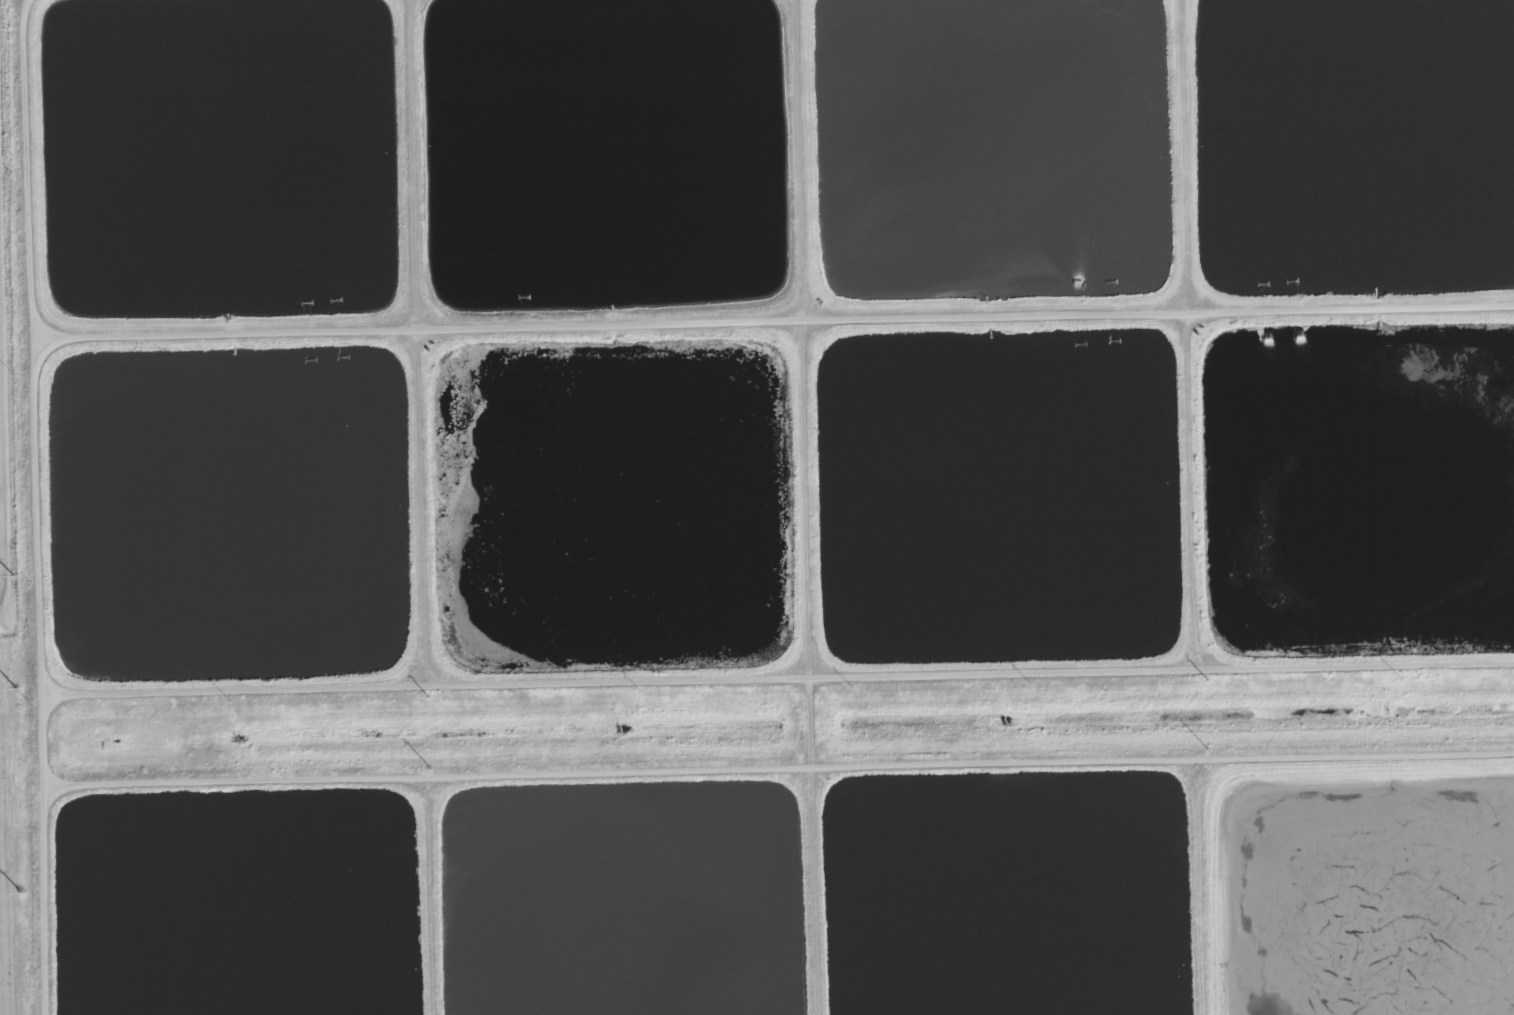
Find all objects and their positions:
road: (1, 524)

